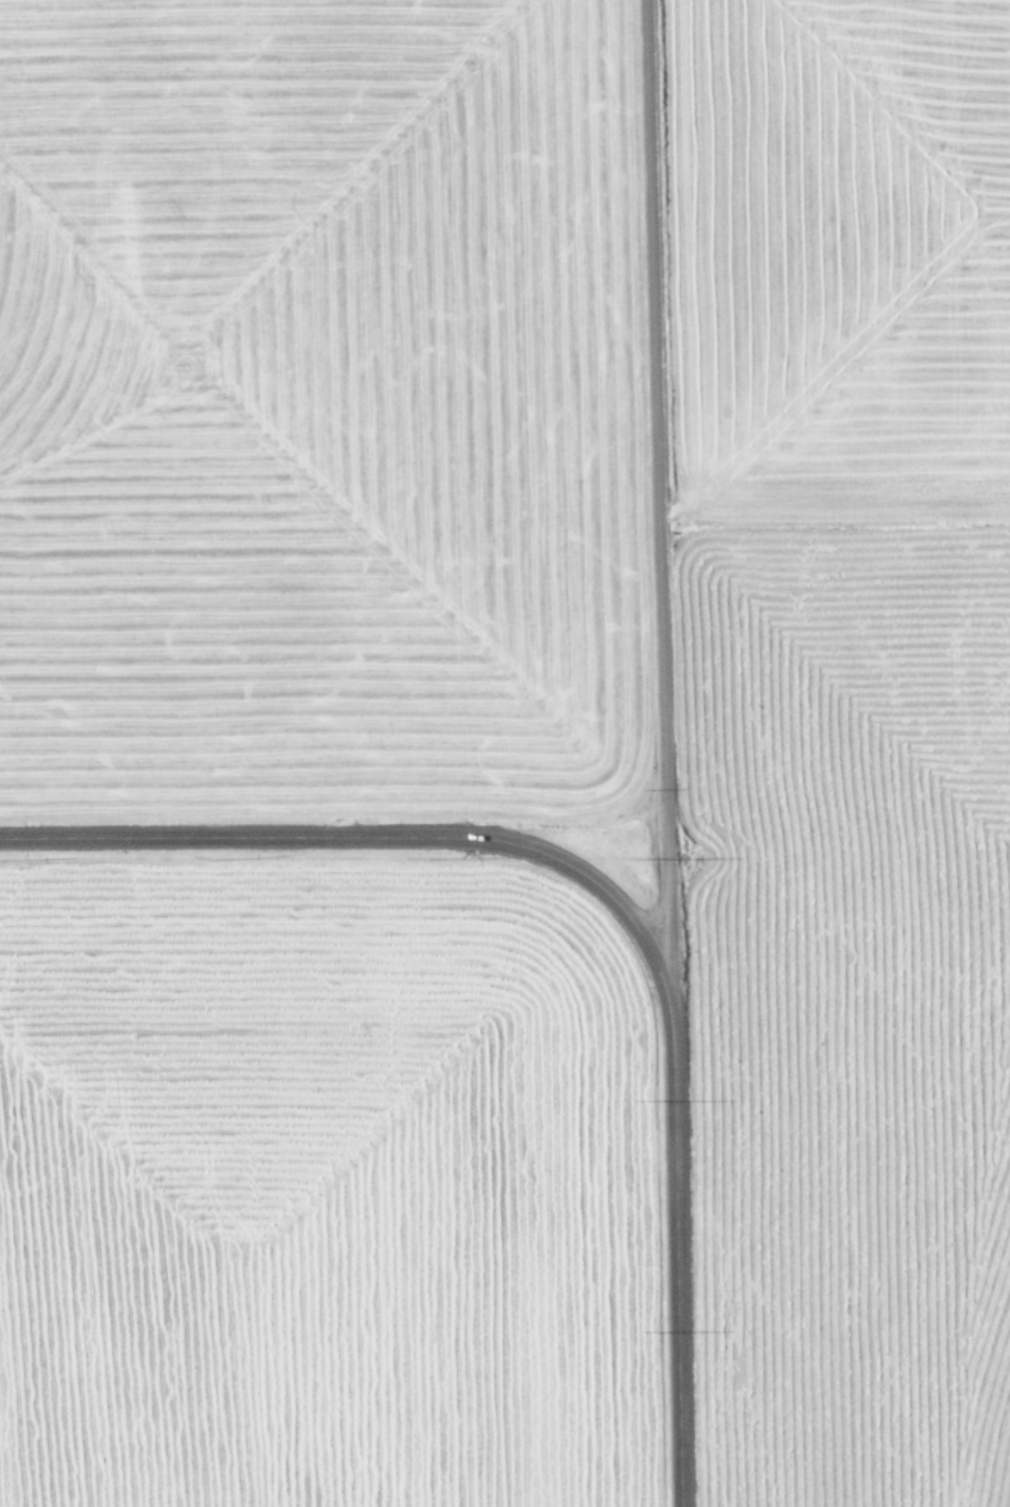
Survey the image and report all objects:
road: (660, 501)
crop: (505, 753)
road: (374, 835)
road: (676, 1254)

